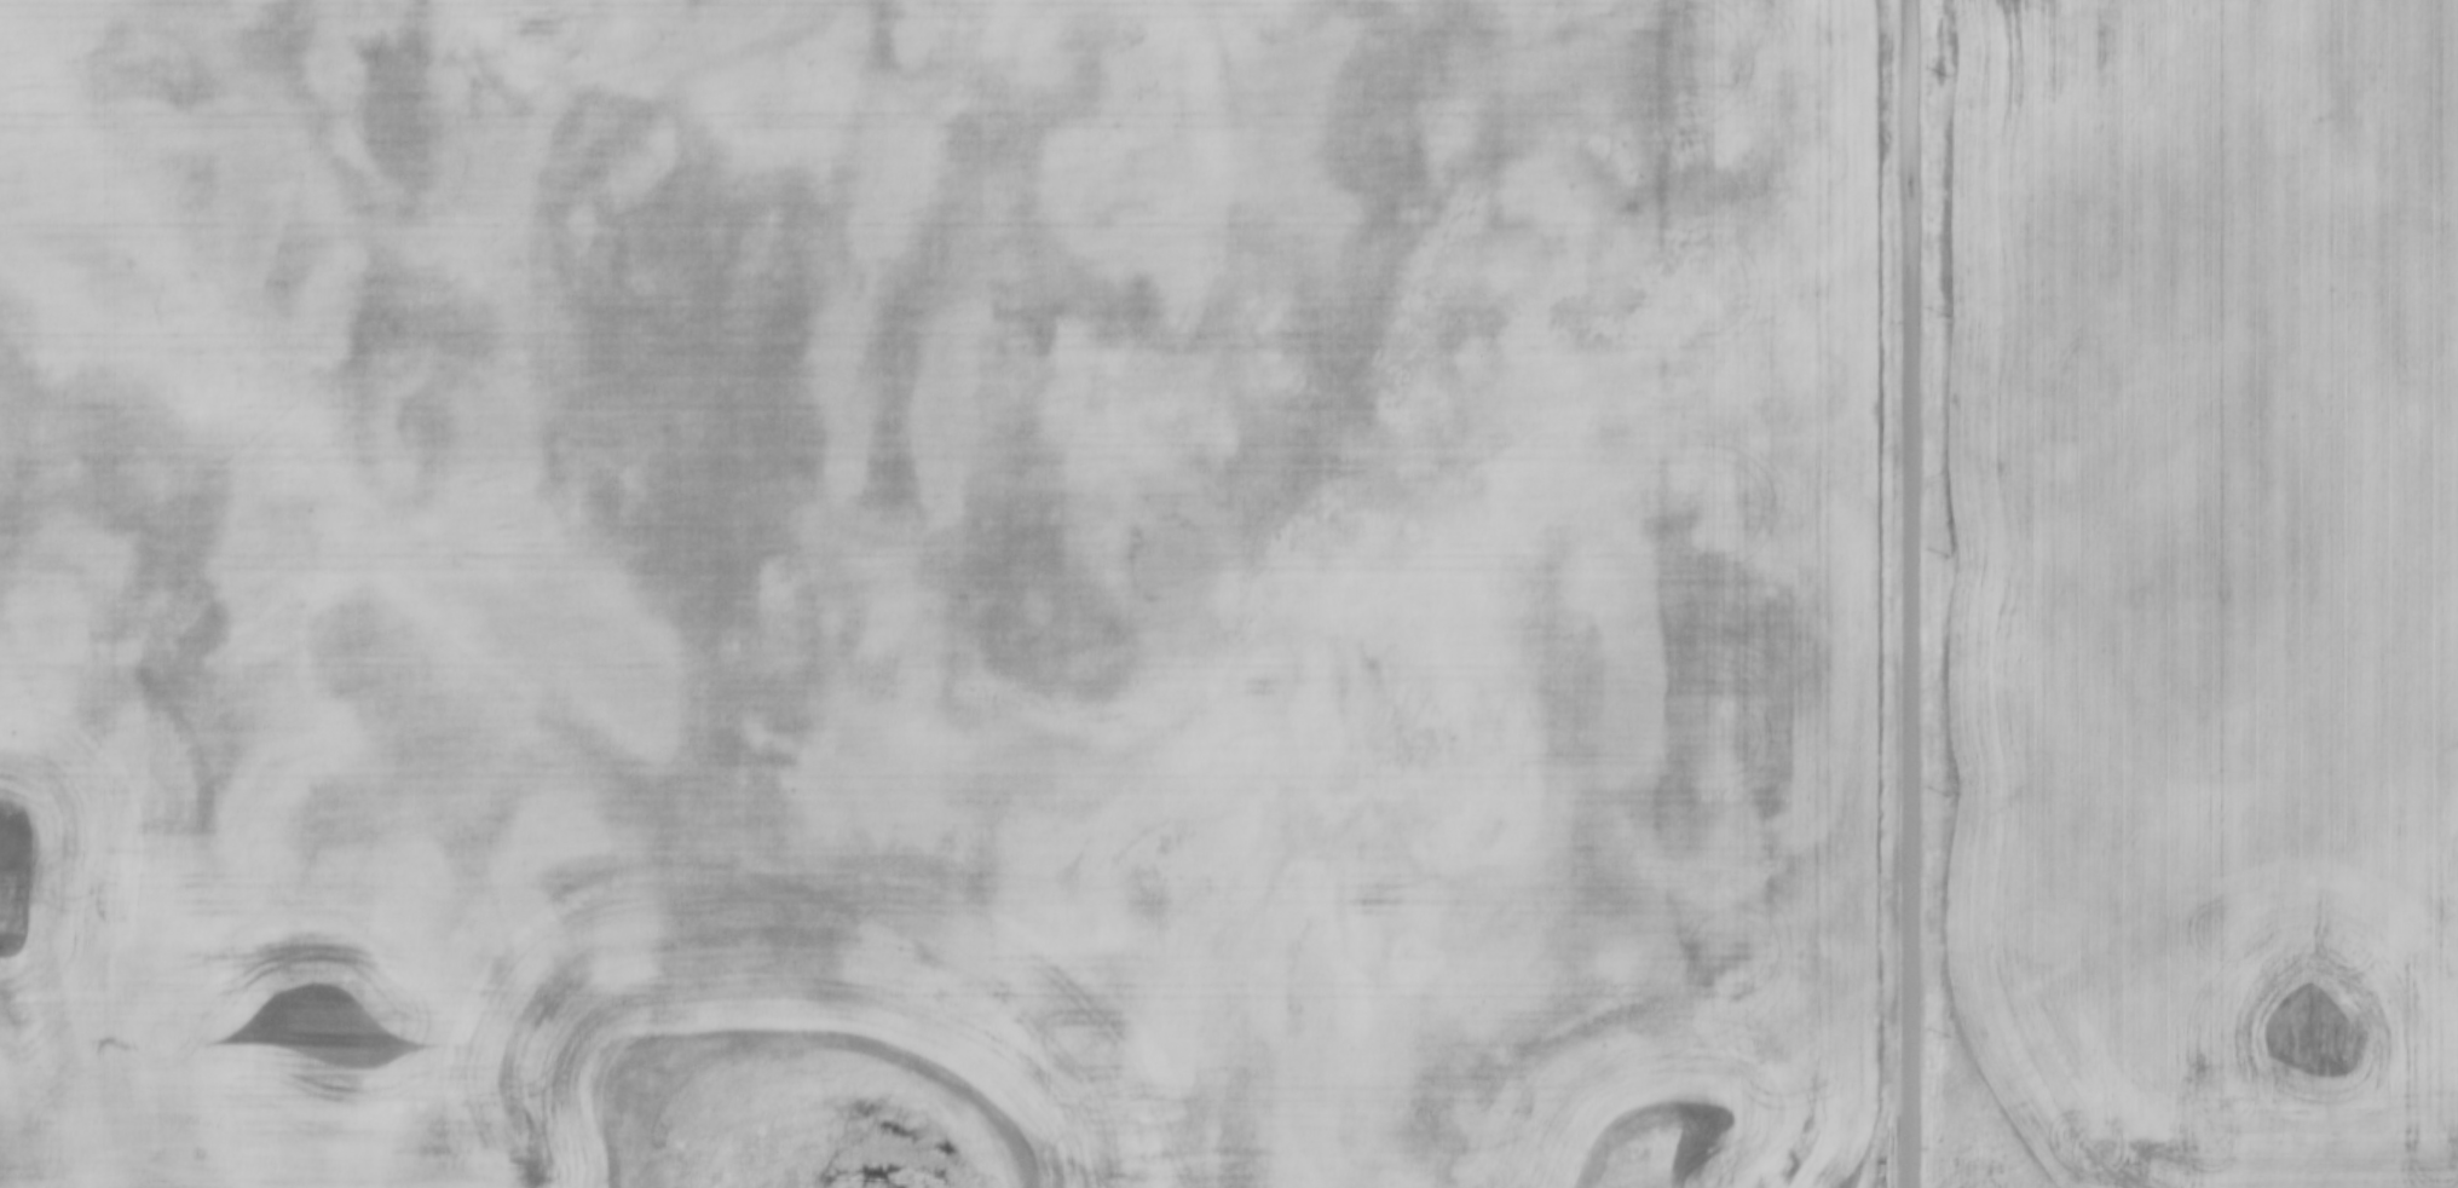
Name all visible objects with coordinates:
road: (1908, 594)

